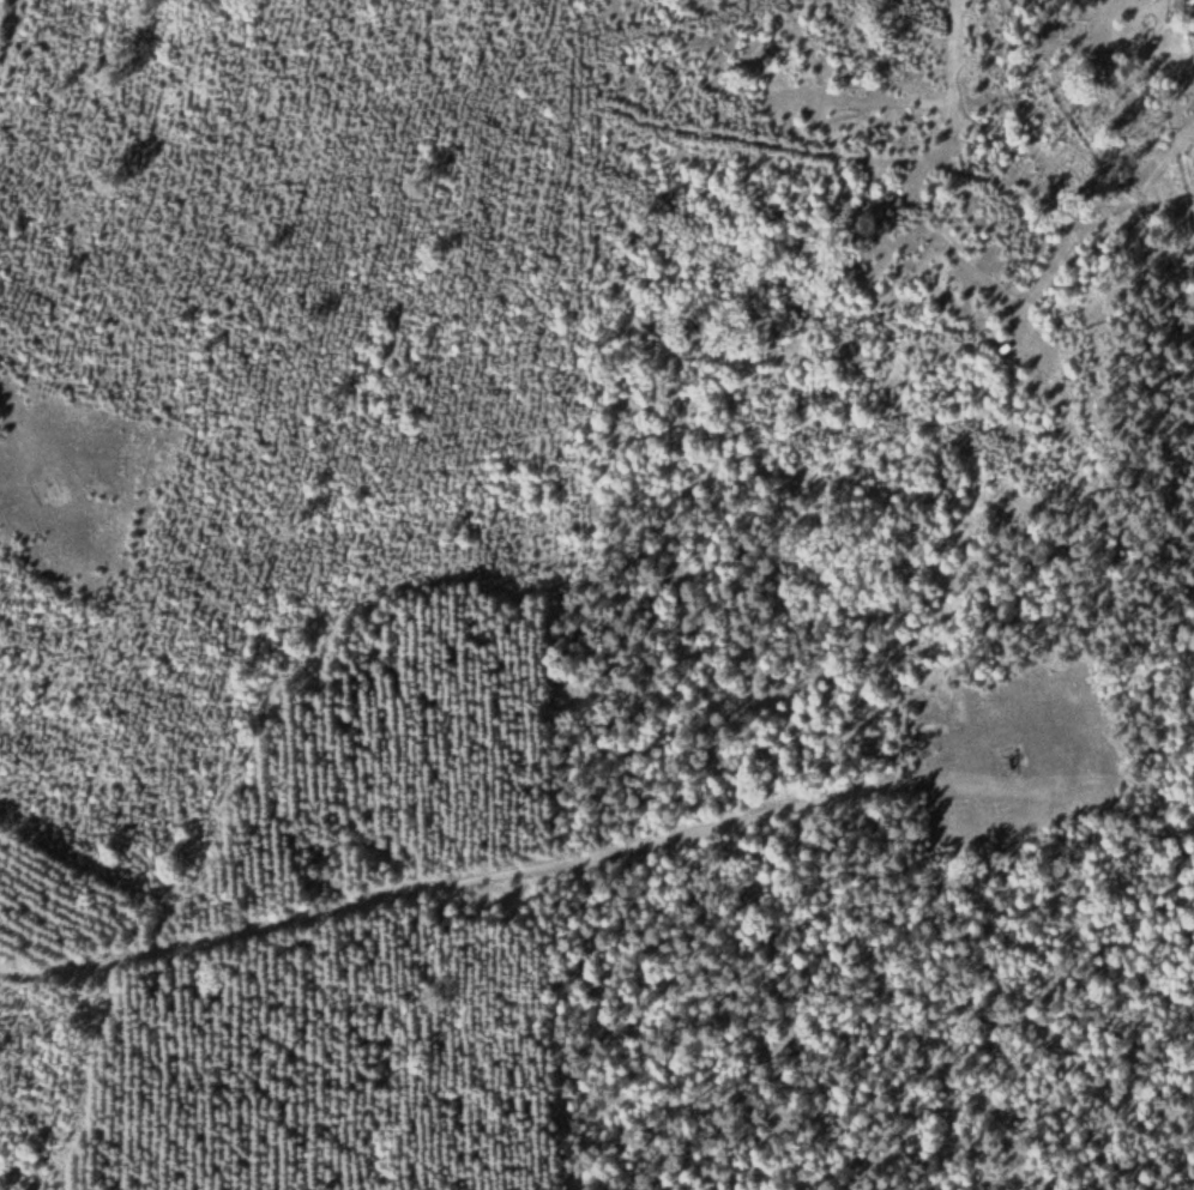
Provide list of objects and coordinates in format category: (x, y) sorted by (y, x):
road: (6, 35)
petroleum well: (1006, 754)
road: (463, 872)

